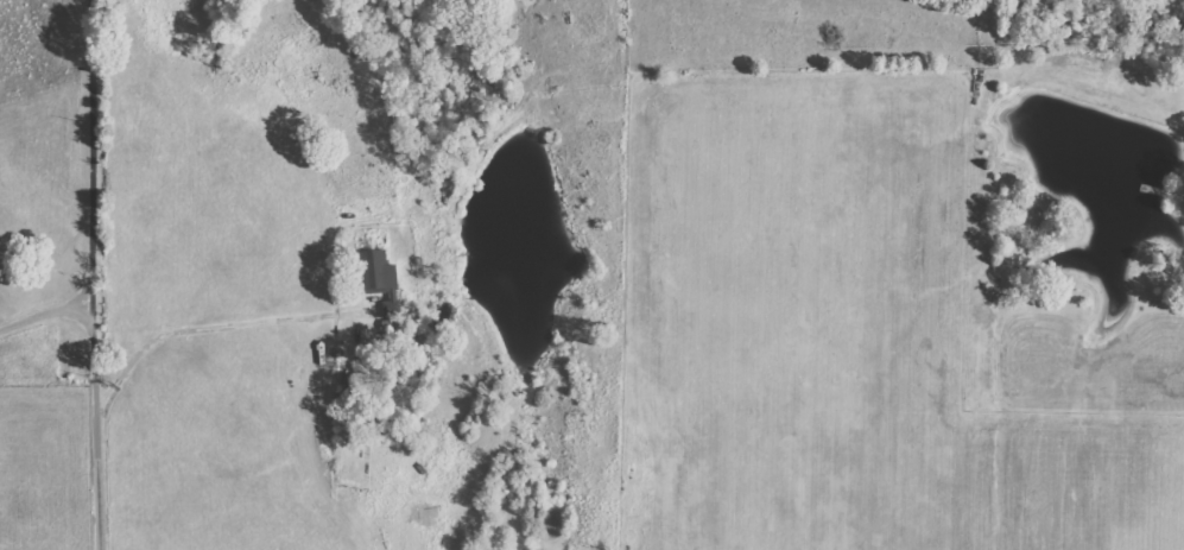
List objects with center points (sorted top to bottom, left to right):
road: (94, 274)
building: (384, 283)
road: (46, 320)
road: (192, 335)

